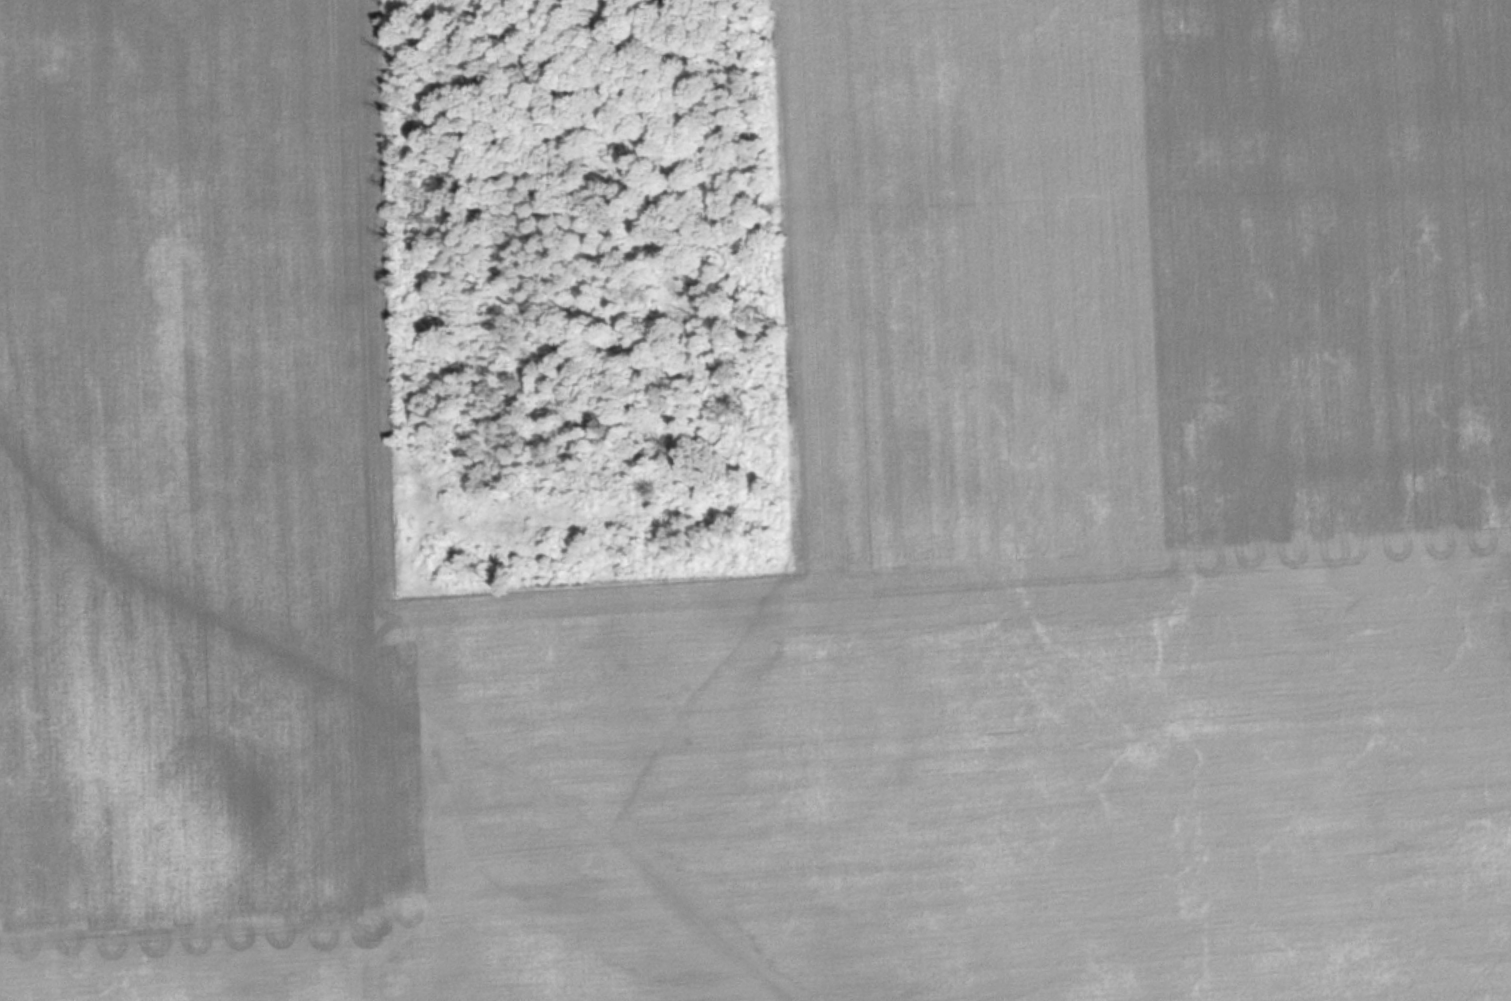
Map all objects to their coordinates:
building: (1504, 630)

